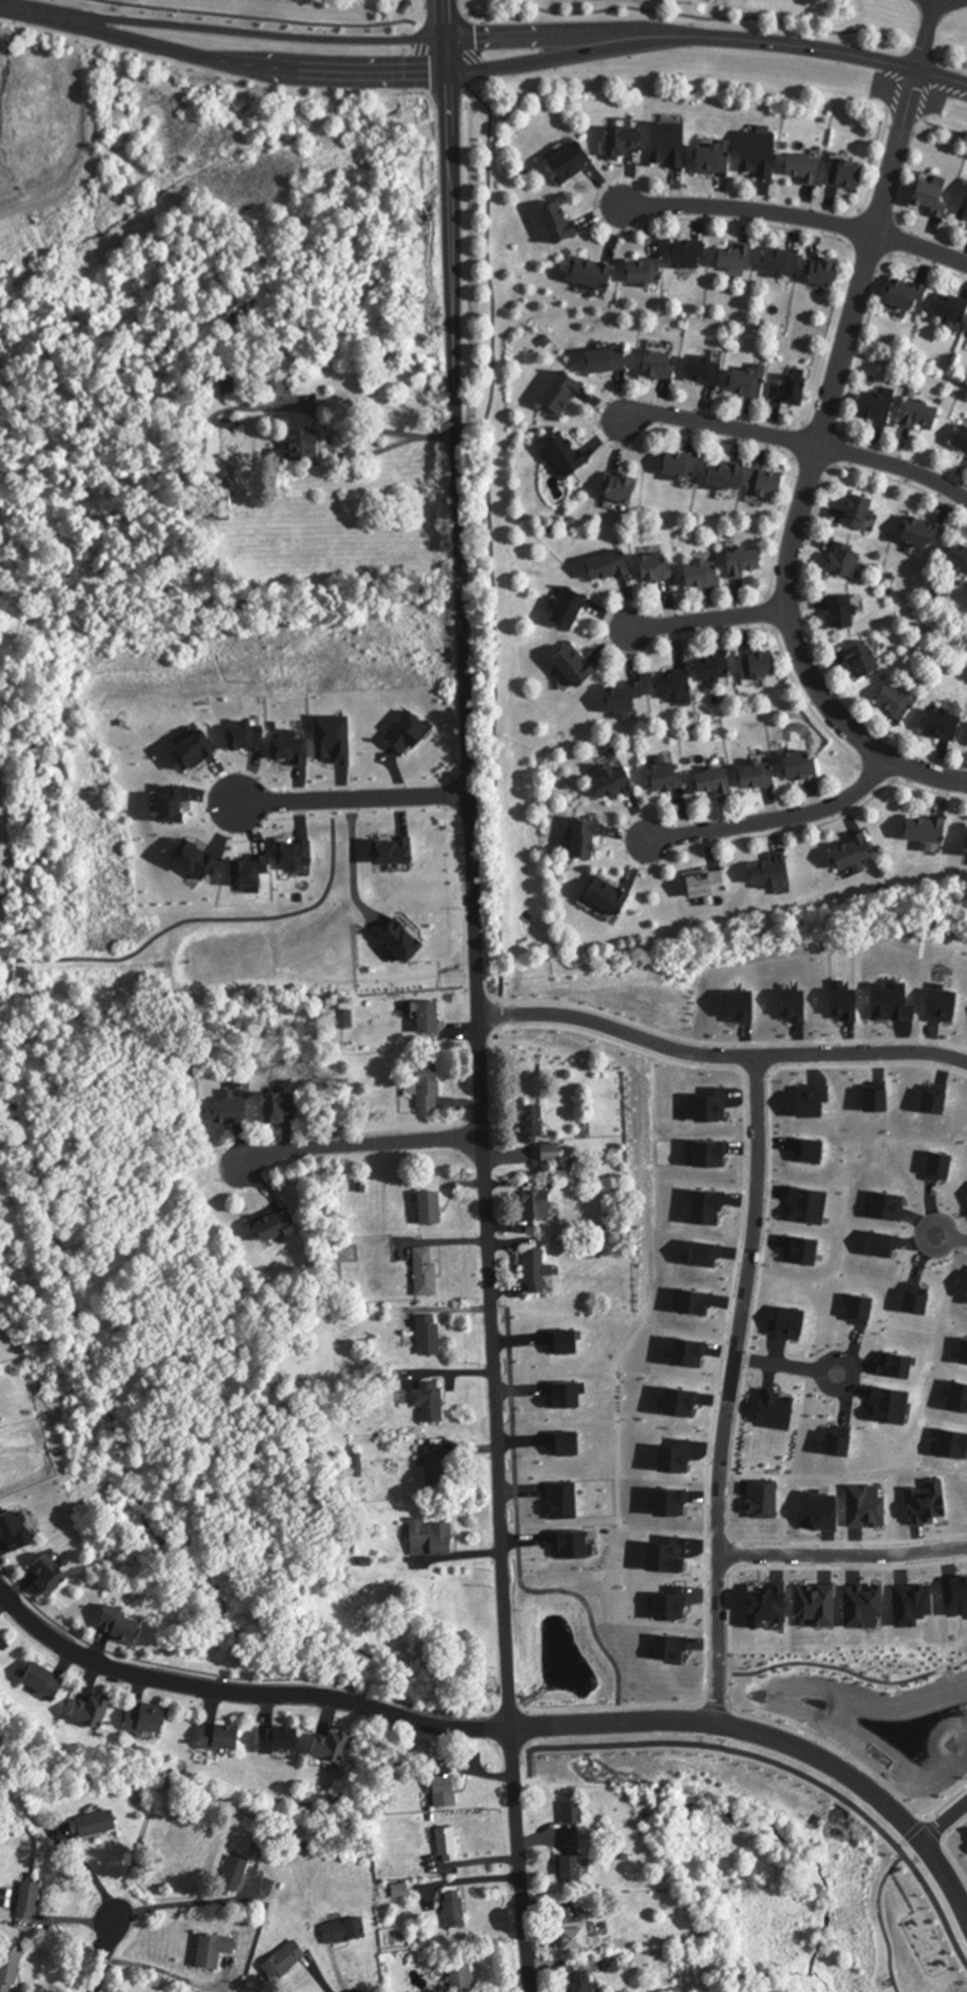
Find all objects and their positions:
road: (29, 10)
road: (261, 17)
park: (775, 19)
road: (930, 20)
road: (250, 33)
road: (553, 36)
road: (817, 51)
road: (554, 56)
road: (248, 63)
road: (907, 114)
road: (947, 129)
building: (627, 141)
building: (673, 144)
building: (763, 154)
building: (716, 157)
road: (878, 160)
building: (574, 162)
building: (807, 167)
building: (848, 173)
building: (934, 197)
road: (748, 209)
building: (964, 211)
building: (562, 221)
road: (793, 230)
road: (921, 248)
building: (689, 254)
road: (889, 256)
building: (738, 257)
building: (784, 262)
road: (929, 265)
building: (647, 271)
building: (827, 271)
building: (595, 272)
building: (909, 293)
building: (953, 308)
building: (611, 360)
building: (662, 365)
building: (707, 371)
building: (749, 383)
building: (228, 387)
building: (792, 390)
building: (565, 394)
building: (877, 407)
building: (922, 414)
road: (340, 425)
road: (721, 426)
road: (842, 434)
building: (306, 445)
road: (744, 445)
building: (572, 453)
building: (683, 466)
road: (895, 466)
road: (811, 471)
building: (729, 476)
building: (768, 483)
road: (903, 484)
building: (626, 488)
building: (861, 512)
building: (924, 532)
road: (491, 538)
building: (960, 554)
building: (747, 562)
building: (848, 562)
building: (613, 566)
building: (659, 568)
building: (704, 574)
building: (573, 609)
building: (846, 612)
road: (774, 613)
road: (709, 620)
road: (764, 628)
building: (864, 660)
building: (579, 665)
building: (761, 665)
building: (717, 669)
building: (677, 685)
building: (628, 699)
building: (898, 702)
building: (945, 724)
building: (803, 766)
road: (880, 773)
building: (760, 776)
building: (670, 778)
building: (618, 780)
building: (718, 782)
road: (351, 796)
road: (778, 818)
road: (801, 830)
building: (931, 830)
building: (591, 839)
building: (857, 853)
road: (351, 858)
building: (776, 874)
building: (710, 885)
building: (612, 896)
road: (475, 922)
building: (429, 1018)
road: (729, 1041)
road: (720, 1055)
road: (755, 1073)
building: (429, 1091)
building: (283, 1107)
road: (769, 1110)
building: (540, 1134)
road: (363, 1148)
building: (540, 1206)
building: (432, 1210)
building: (279, 1227)
road: (951, 1236)
building: (428, 1273)
building: (537, 1273)
building: (431, 1337)
road: (721, 1349)
road: (747, 1358)
road: (785, 1365)
road: (728, 1390)
building: (432, 1402)
building: (438, 1467)
building: (16, 1533)
building: (432, 1539)
road: (766, 1540)
road: (734, 1554)
road: (843, 1554)
building: (50, 1577)
building: (861, 1591)
building: (803, 1592)
building: (912, 1592)
building: (698, 1594)
building: (122, 1632)
building: (3, 1646)
road: (730, 1660)
building: (45, 1681)
road: (241, 1697)
road: (714, 1704)
building: (93, 1709)
building: (148, 1718)
building: (222, 1736)
building: (282, 1738)
road: (774, 1741)
building: (334, 1744)
building: (446, 1791)
building: (574, 1812)
road: (922, 1818)
road: (942, 1820)
building: (95, 1823)
building: (271, 1842)
building: (449, 1843)
road: (945, 1846)
building: (572, 1867)
building: (239, 1873)
building: (30, 1900)
road: (176, 1904)
building: (457, 1910)
road: (523, 1918)
building: (581, 1928)
building: (348, 1930)
building: (216, 1949)
road: (101, 1960)
building: (288, 1960)
building: (10, 1969)
building: (464, 1974)
building: (583, 1983)

